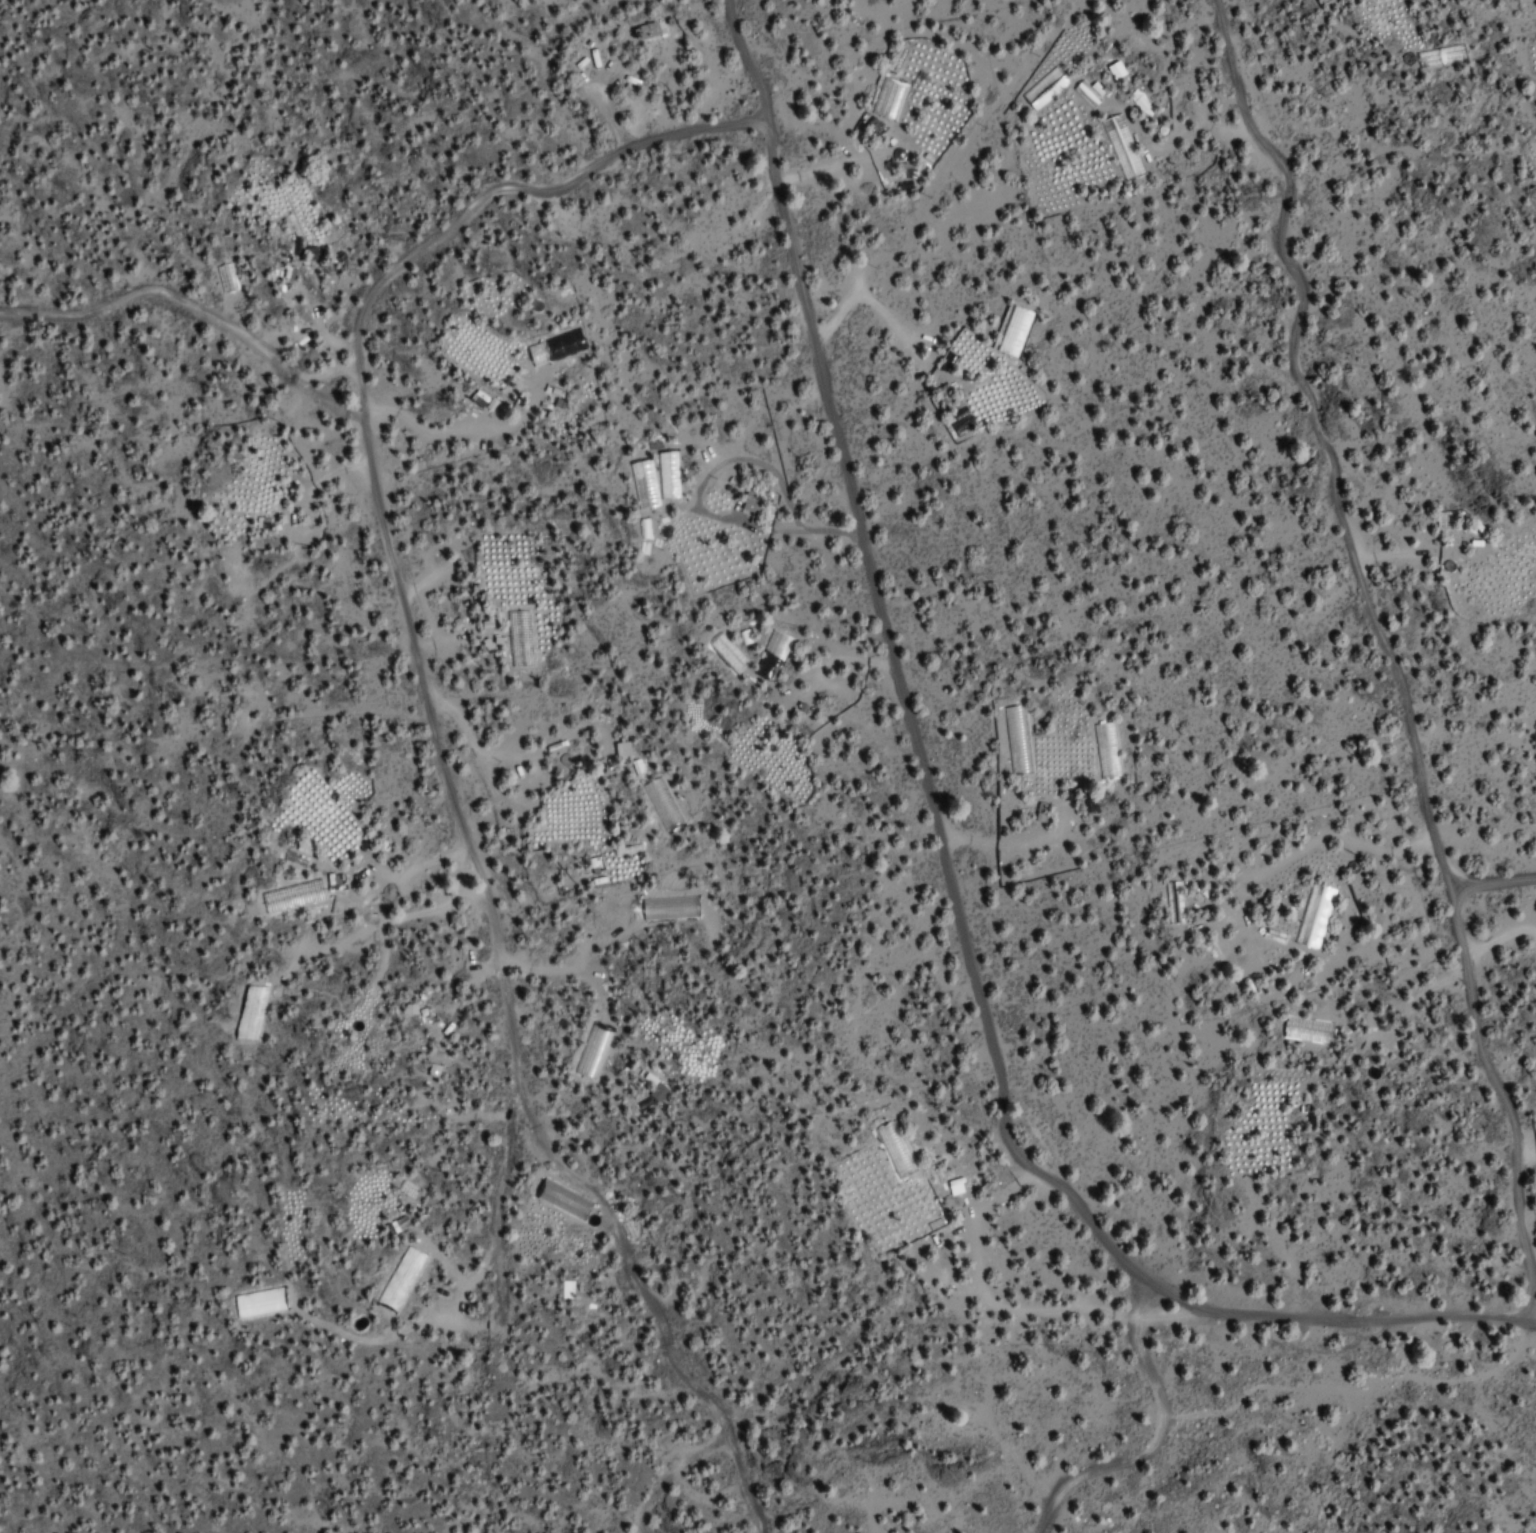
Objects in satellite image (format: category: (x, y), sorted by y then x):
building: (1324, 0)
building: (649, 31)
building: (888, 102)
building: (1122, 147)
building: (302, 210)
road: (192, 308)
building: (1015, 331)
building: (667, 474)
building: (752, 505)
building: (234, 569)
building: (519, 639)
road: (1378, 651)
building: (772, 656)
road: (422, 715)
building: (1107, 753)
road: (938, 860)
building: (596, 865)
road: (1490, 881)
building: (292, 896)
building: (1313, 916)
building: (1208, 926)
building: (593, 1051)
building: (657, 1093)
building: (893, 1206)
road: (1165, 1441)

